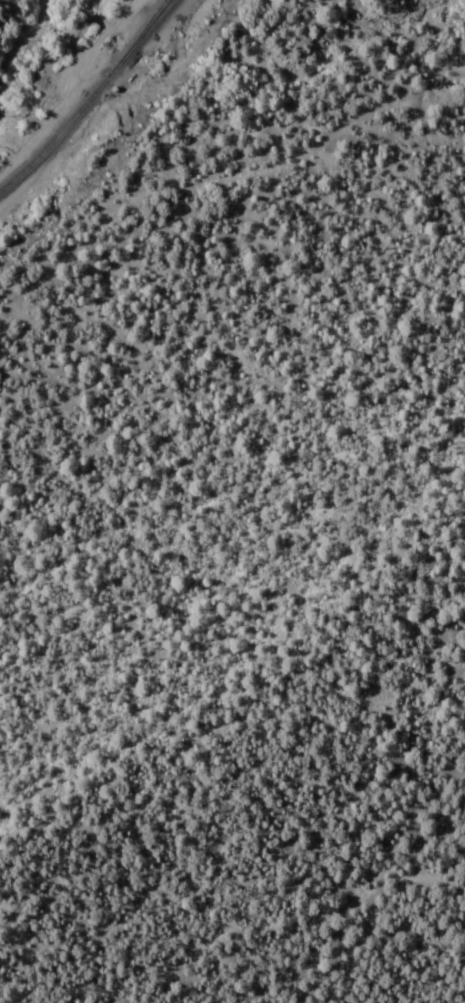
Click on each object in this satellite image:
road: (116, 23)
railway: (135, 40)
railway: (89, 98)

